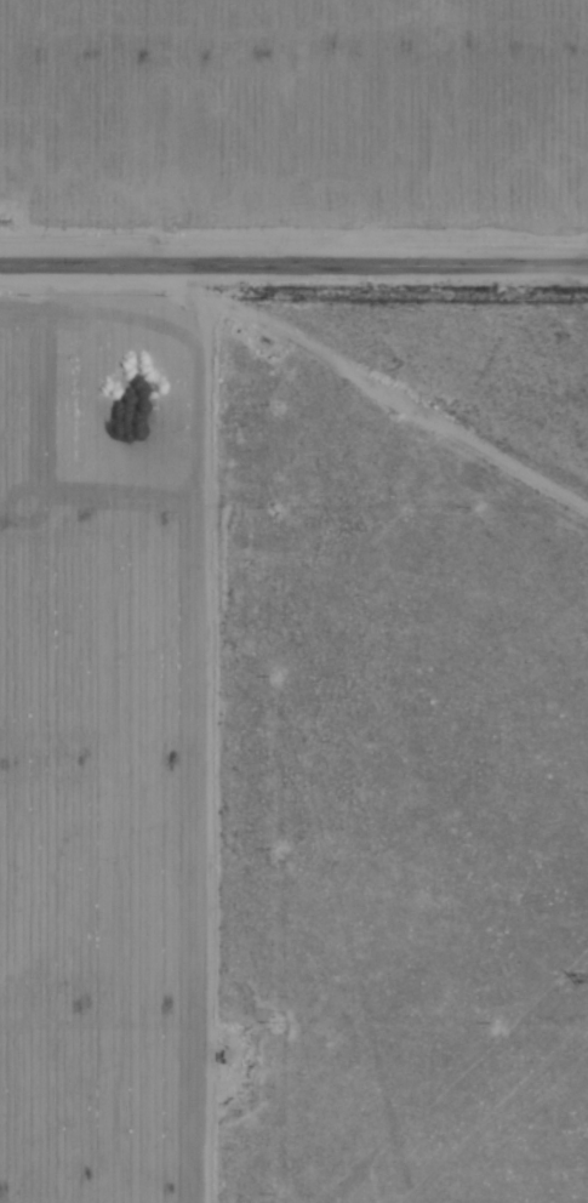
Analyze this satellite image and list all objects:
road: (293, 266)
road: (381, 411)
crop: (185, 461)
road: (162, 729)

